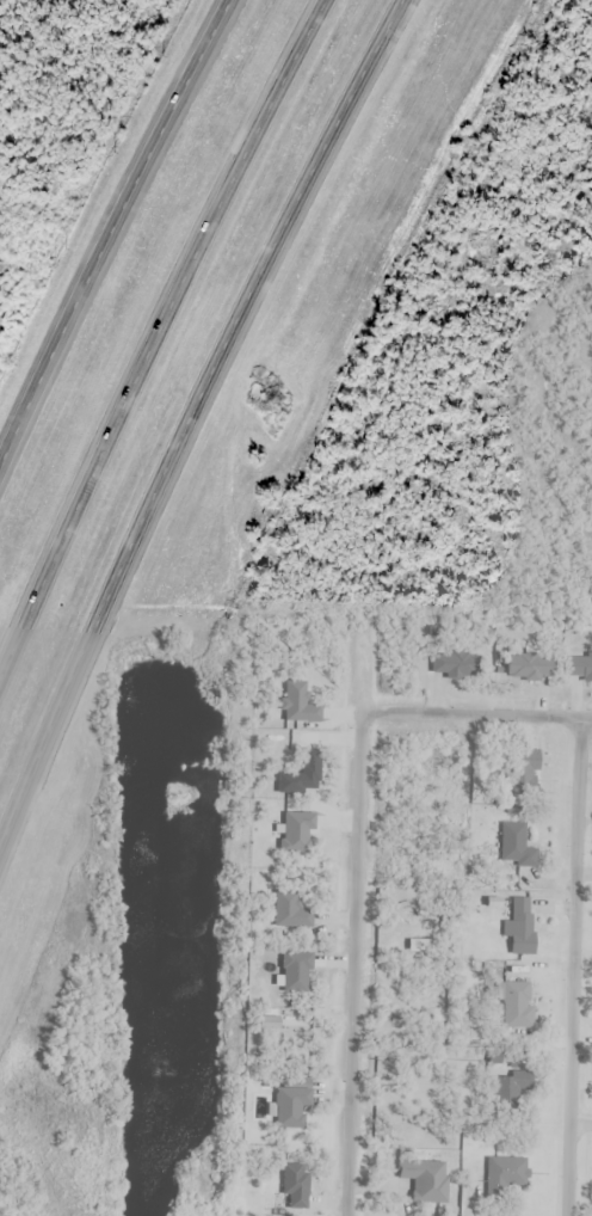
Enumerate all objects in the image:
road: (113, 237)
road: (159, 350)
road: (195, 416)
building: (455, 665)
building: (530, 668)
building: (580, 668)
road: (476, 717)
building: (522, 772)
building: (514, 847)
building: (522, 914)
building: (520, 950)
road: (575, 968)
road: (351, 969)
building: (518, 1006)
building: (512, 1086)
building: (291, 1107)
building: (507, 1172)
building: (426, 1183)
building: (295, 1187)

